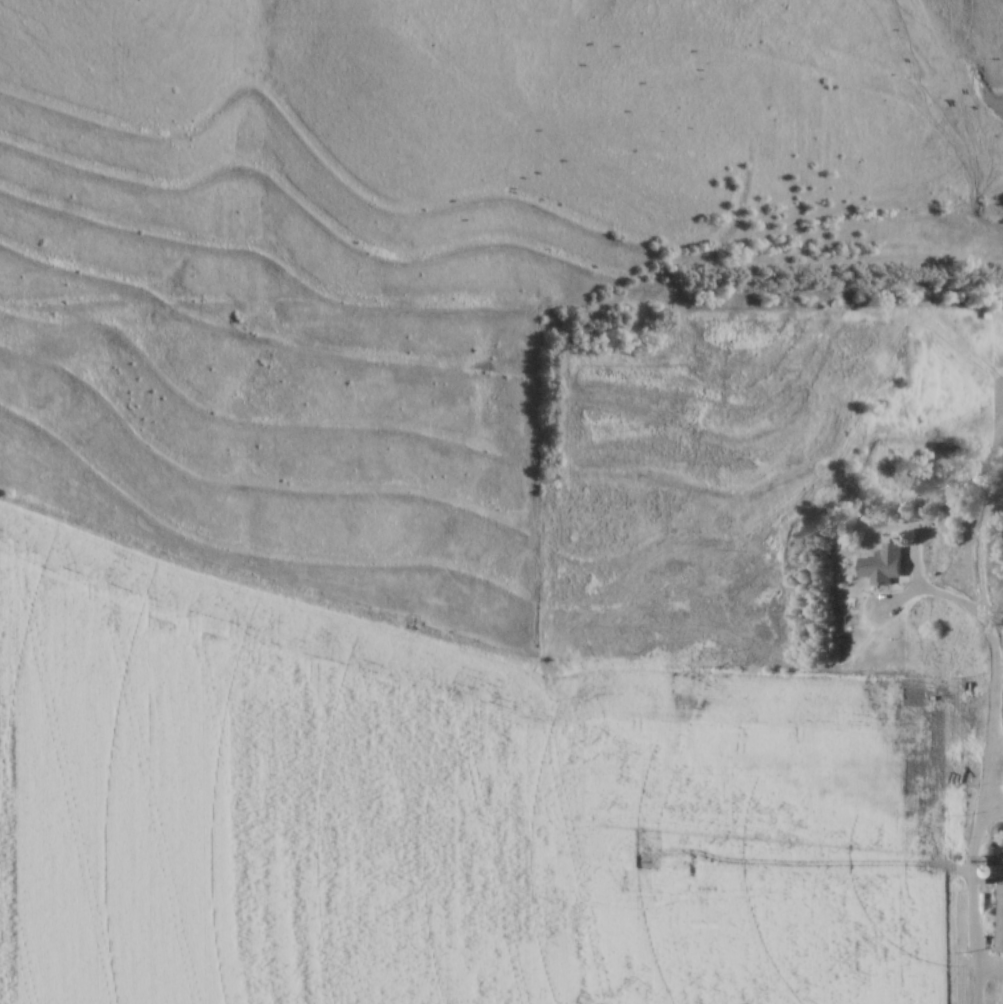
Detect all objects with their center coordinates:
dam: (991, 206)
building: (994, 363)
road: (977, 550)
building: (883, 564)
road: (989, 757)
crop: (444, 805)
silo: (999, 830)
silo: (1000, 850)
silo: (1000, 868)
building: (998, 917)
crop: (994, 994)

